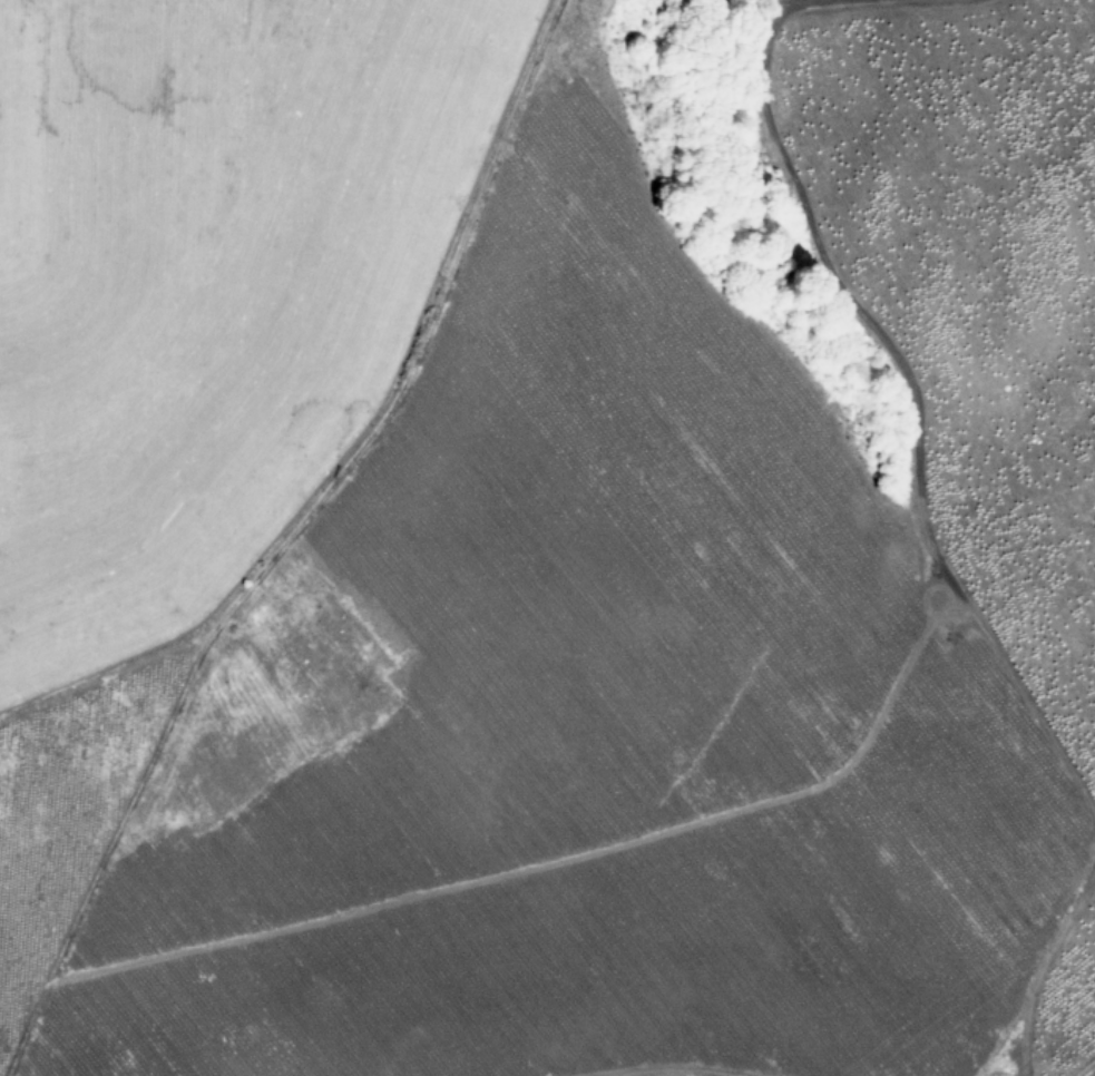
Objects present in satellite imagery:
road: (831, 8)
crop: (547, 538)
road: (1089, 1072)

